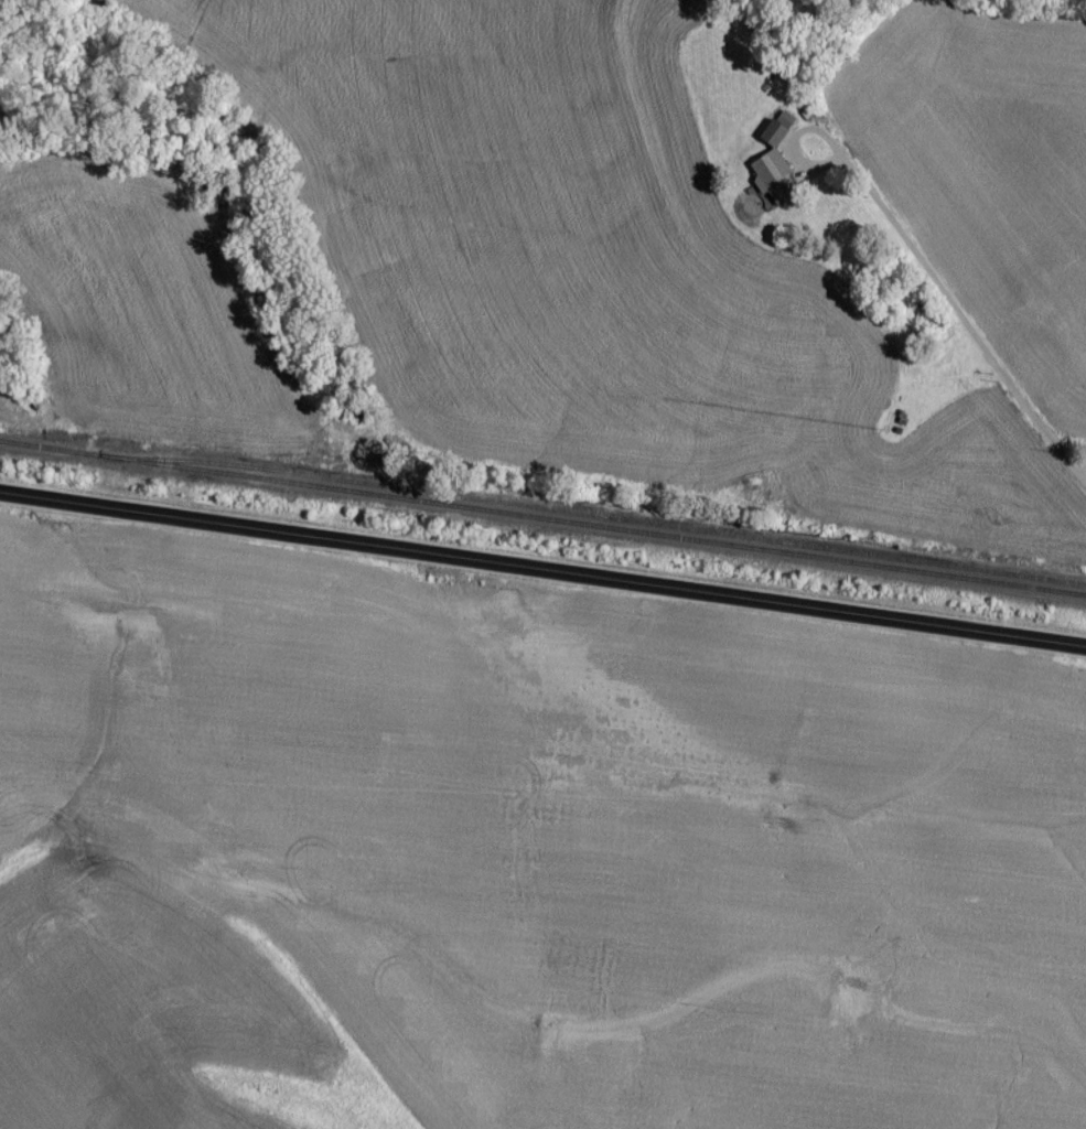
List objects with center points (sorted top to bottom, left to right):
road: (797, 141)
building: (779, 184)
road: (965, 318)
railway: (542, 523)
road: (542, 576)

